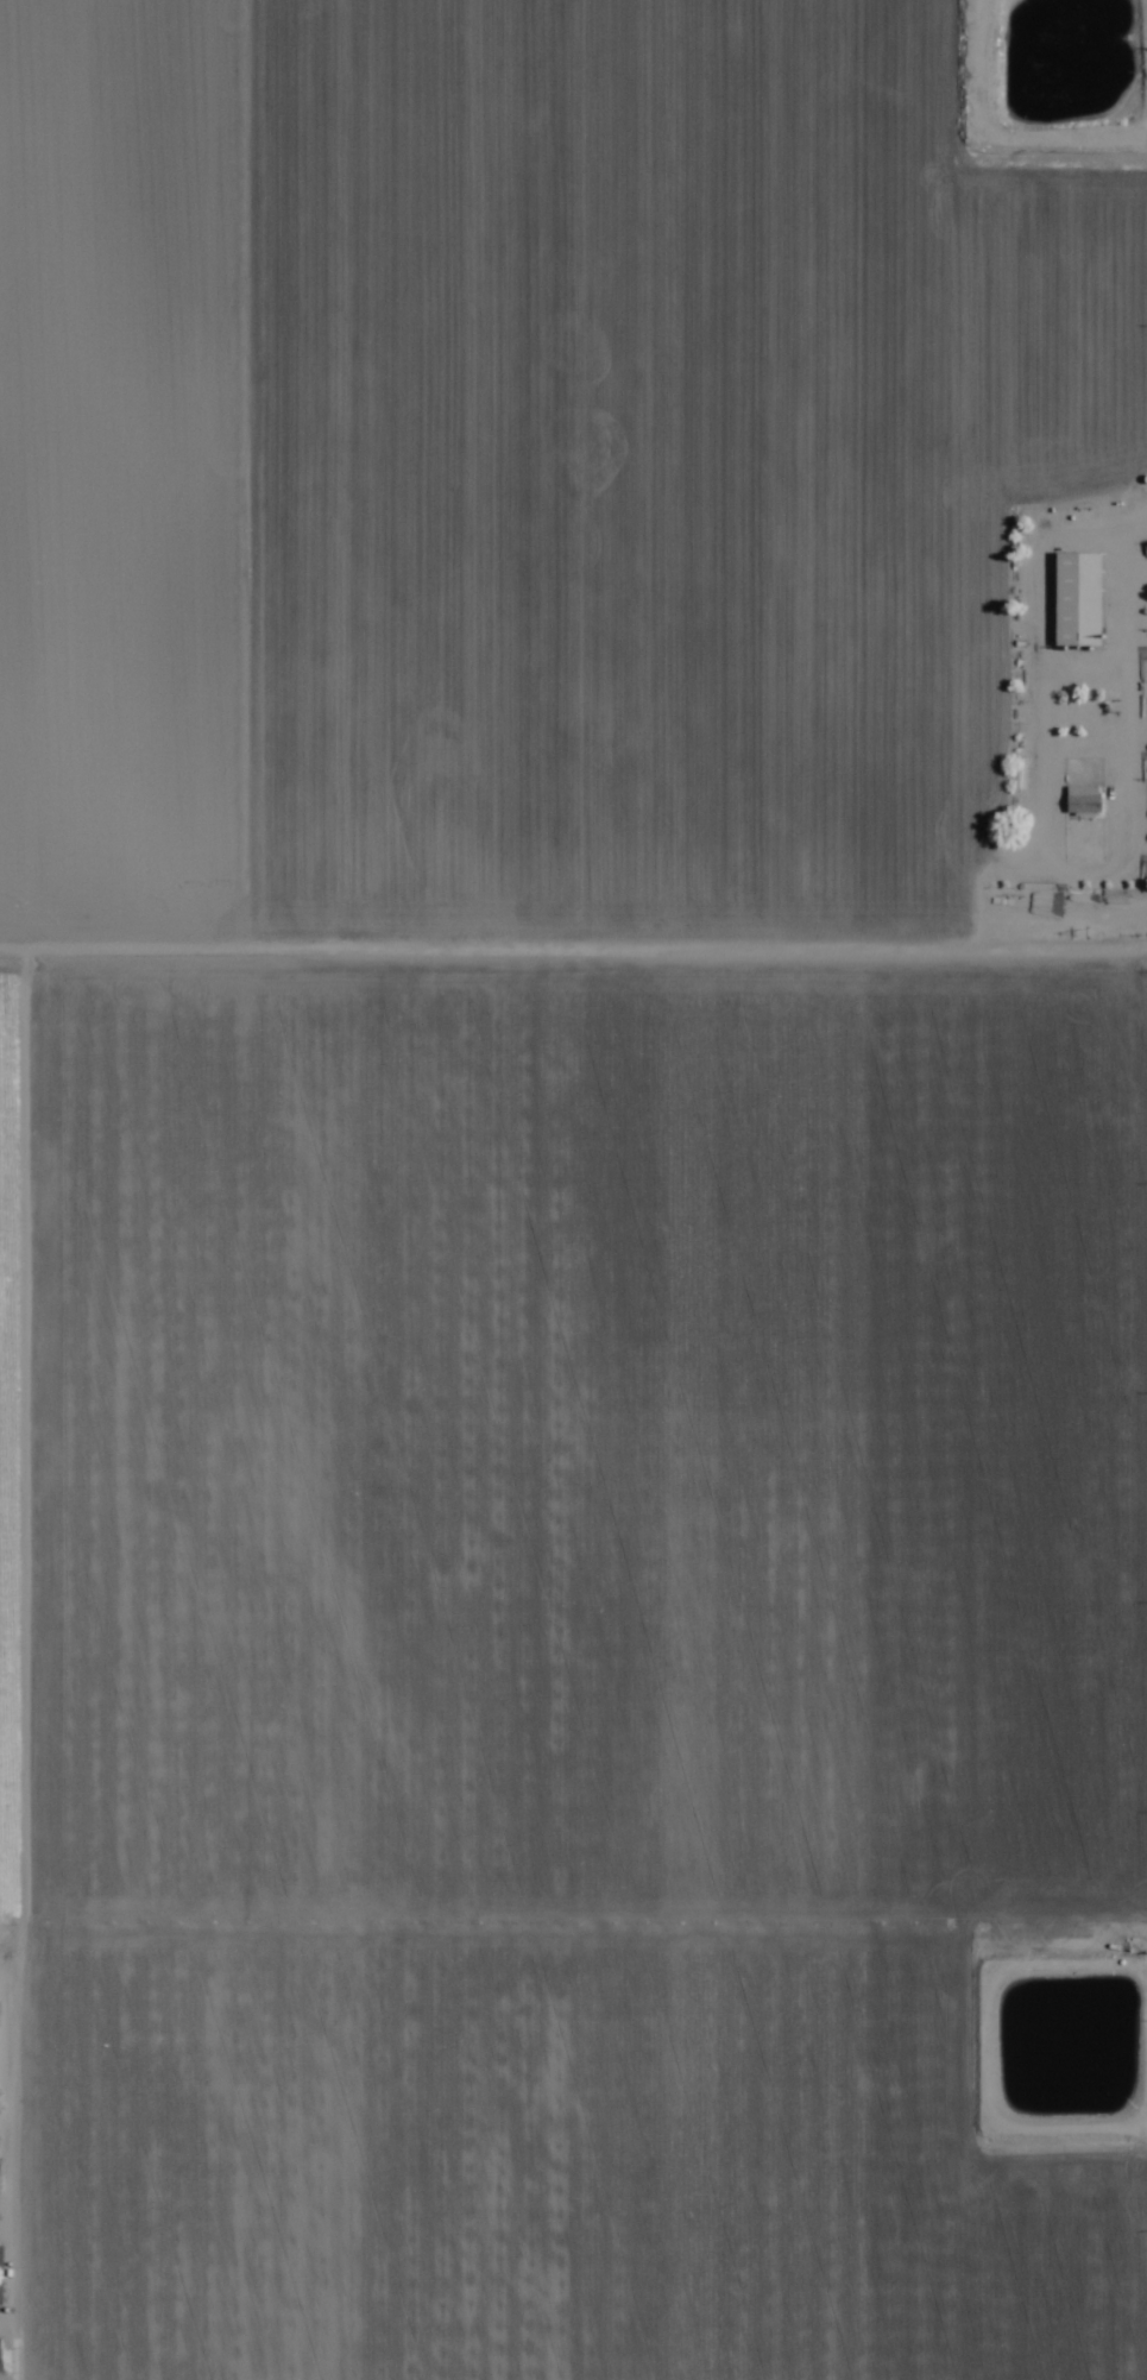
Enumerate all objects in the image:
wastewater plant: (1057, 69)
building: (1076, 600)
building: (1083, 801)
road: (573, 933)
crop: (573, 1190)
road: (1134, 1190)
wastewater plant: (1059, 2046)
building: (2, 2362)

